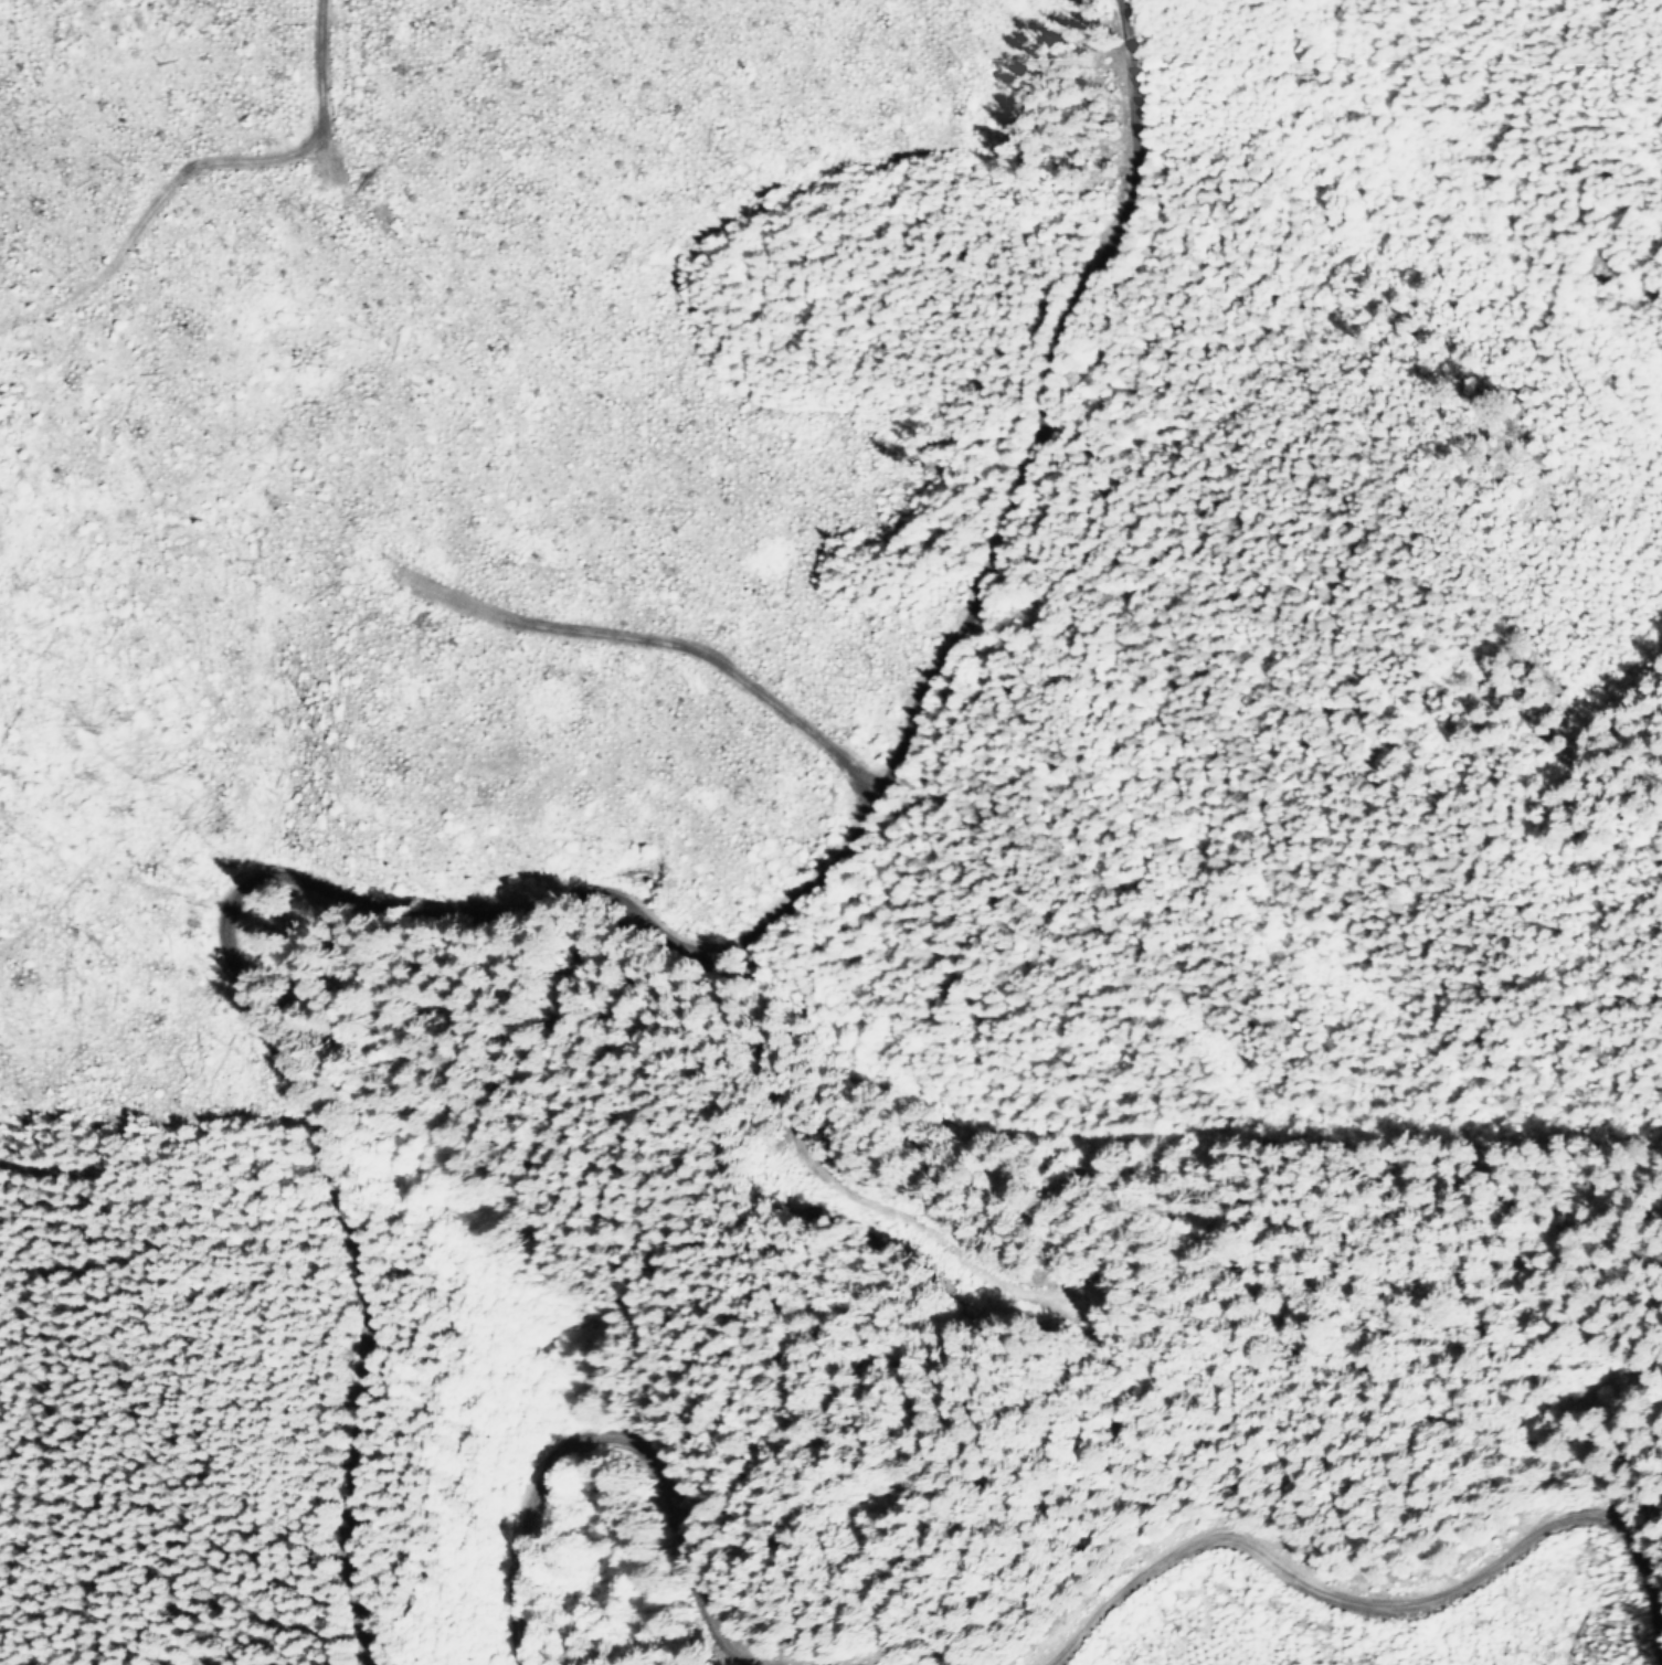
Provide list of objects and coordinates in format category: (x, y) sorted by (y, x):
road: (560, 905)
road: (587, 1455)
road: (1368, 1584)

